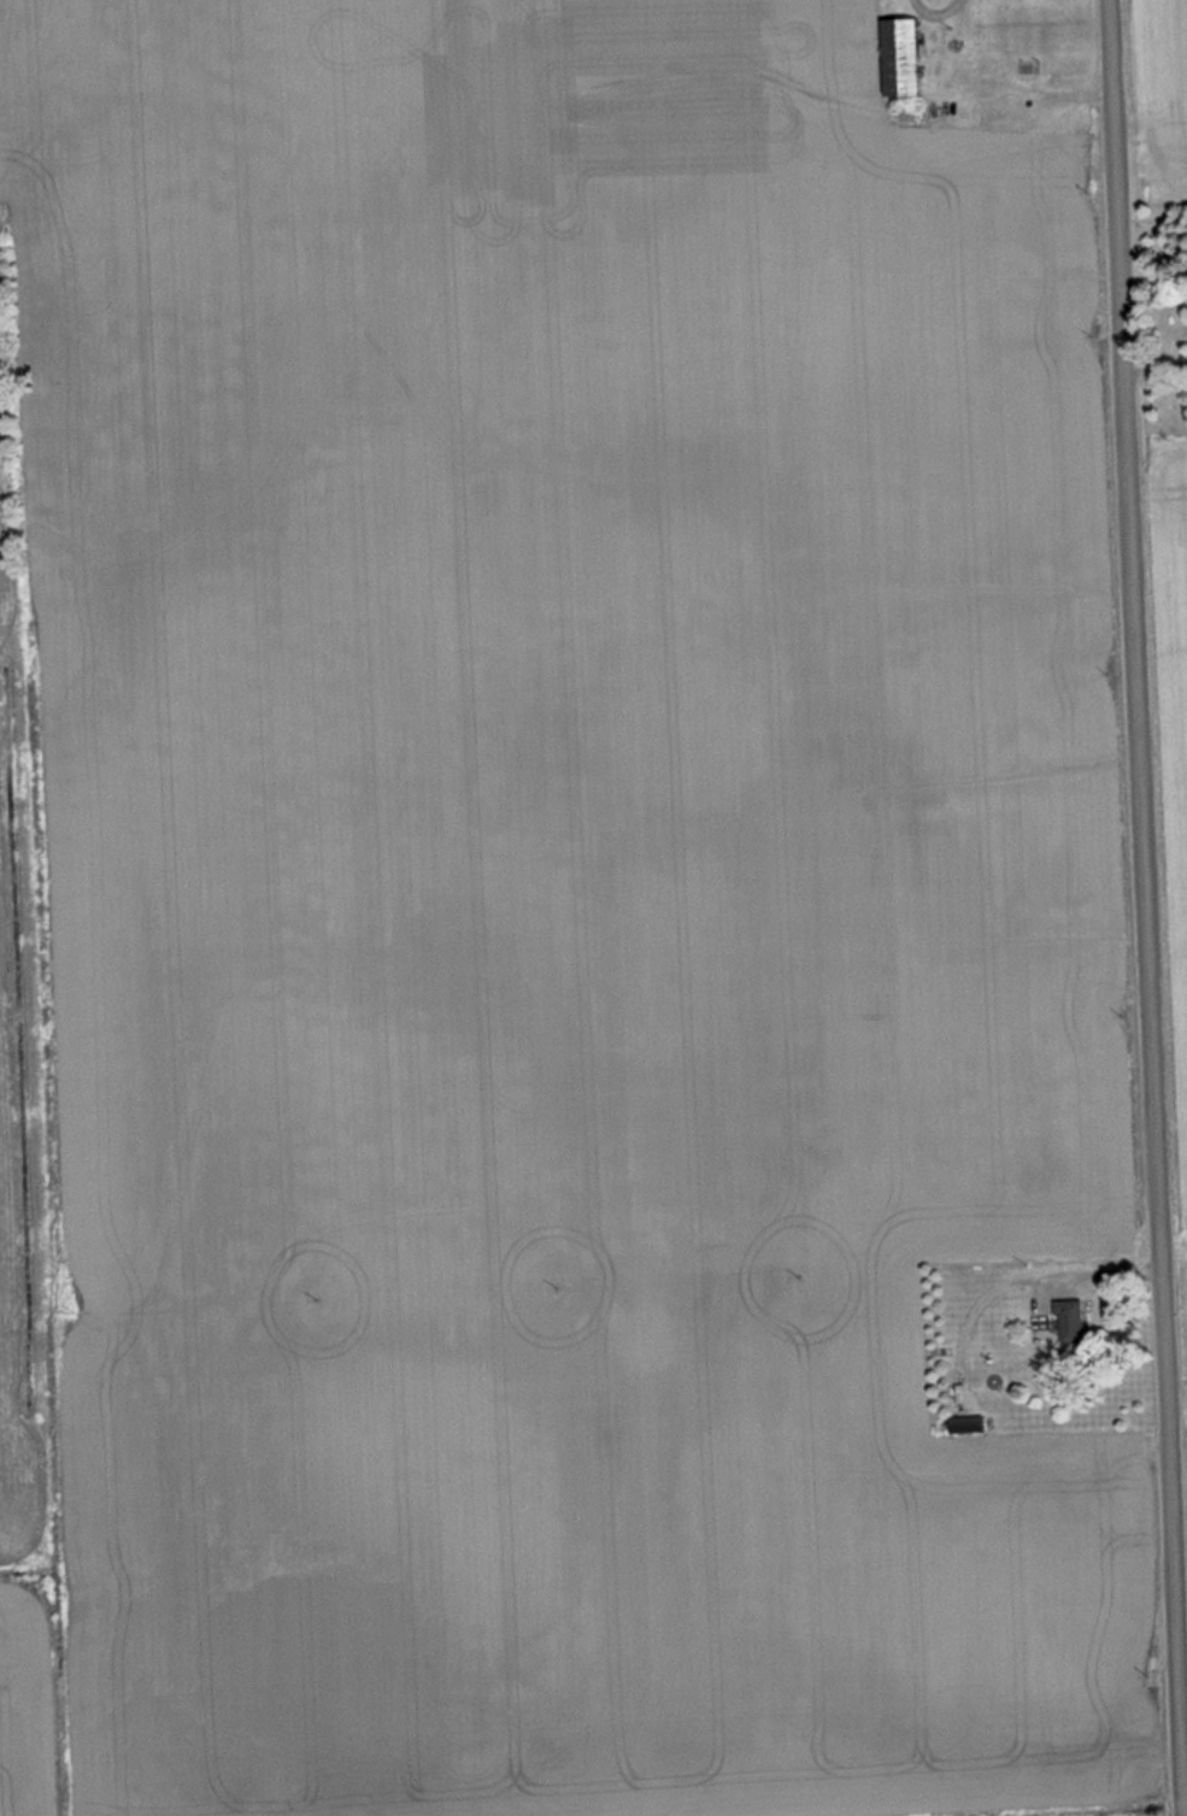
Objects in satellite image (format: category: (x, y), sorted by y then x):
building: (906, 57)
road: (1141, 907)
building: (1074, 1323)

